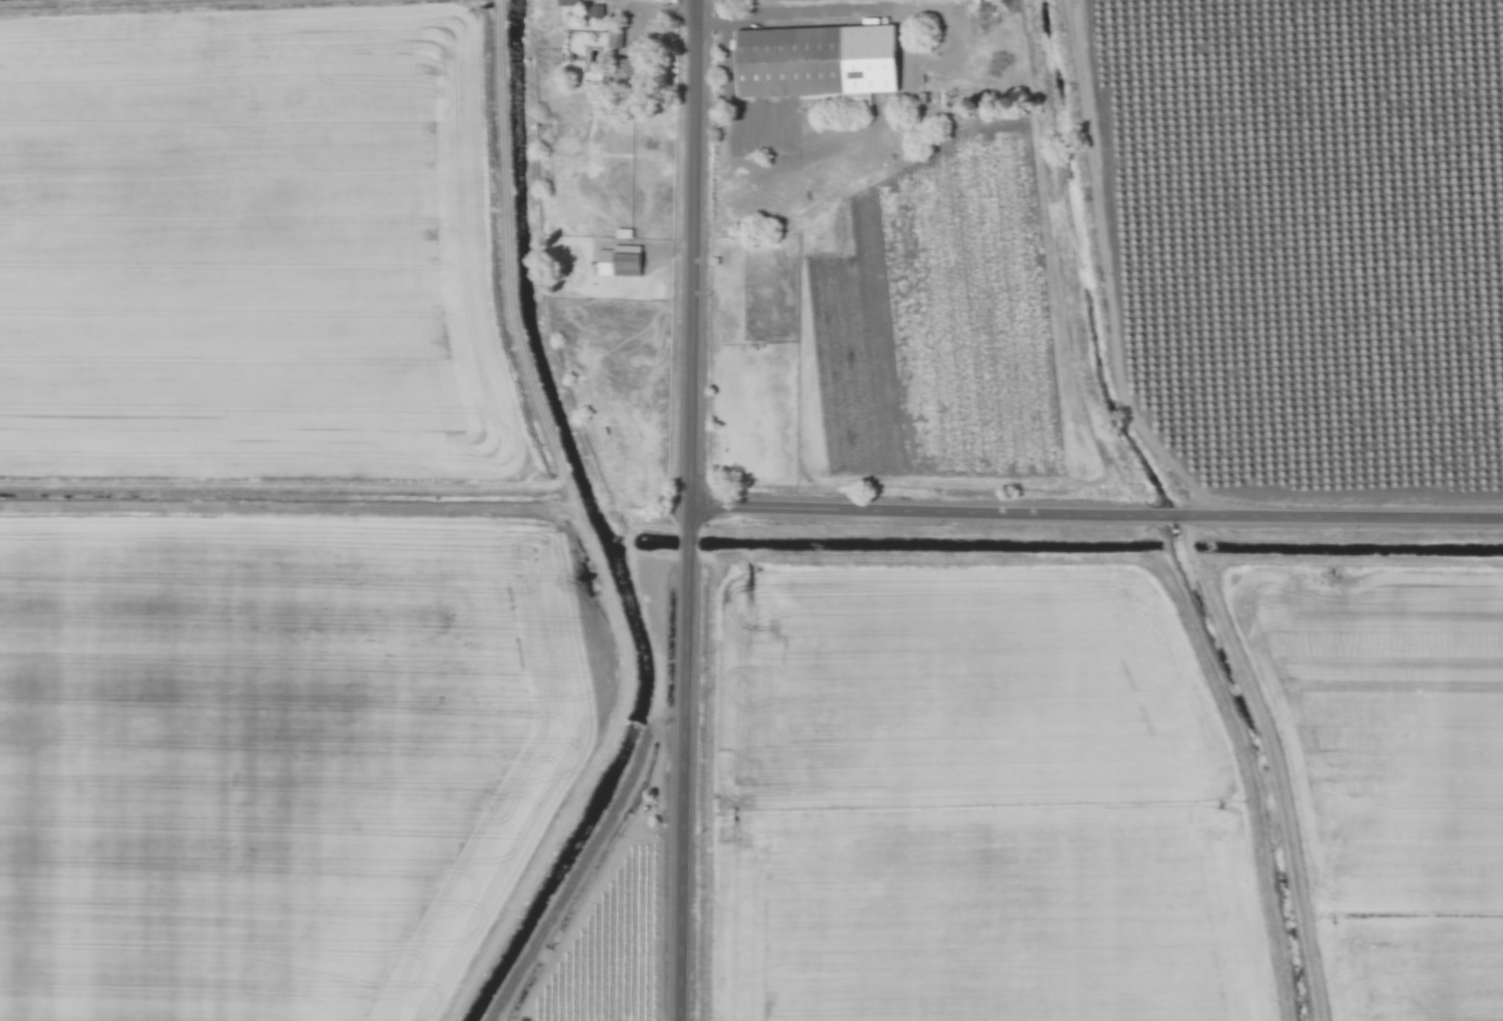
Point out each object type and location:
building: (570, 3)
building: (596, 12)
building: (819, 61)
building: (622, 261)
road: (698, 510)
road: (1100, 517)
crop: (1387, 773)
road: (585, 856)

